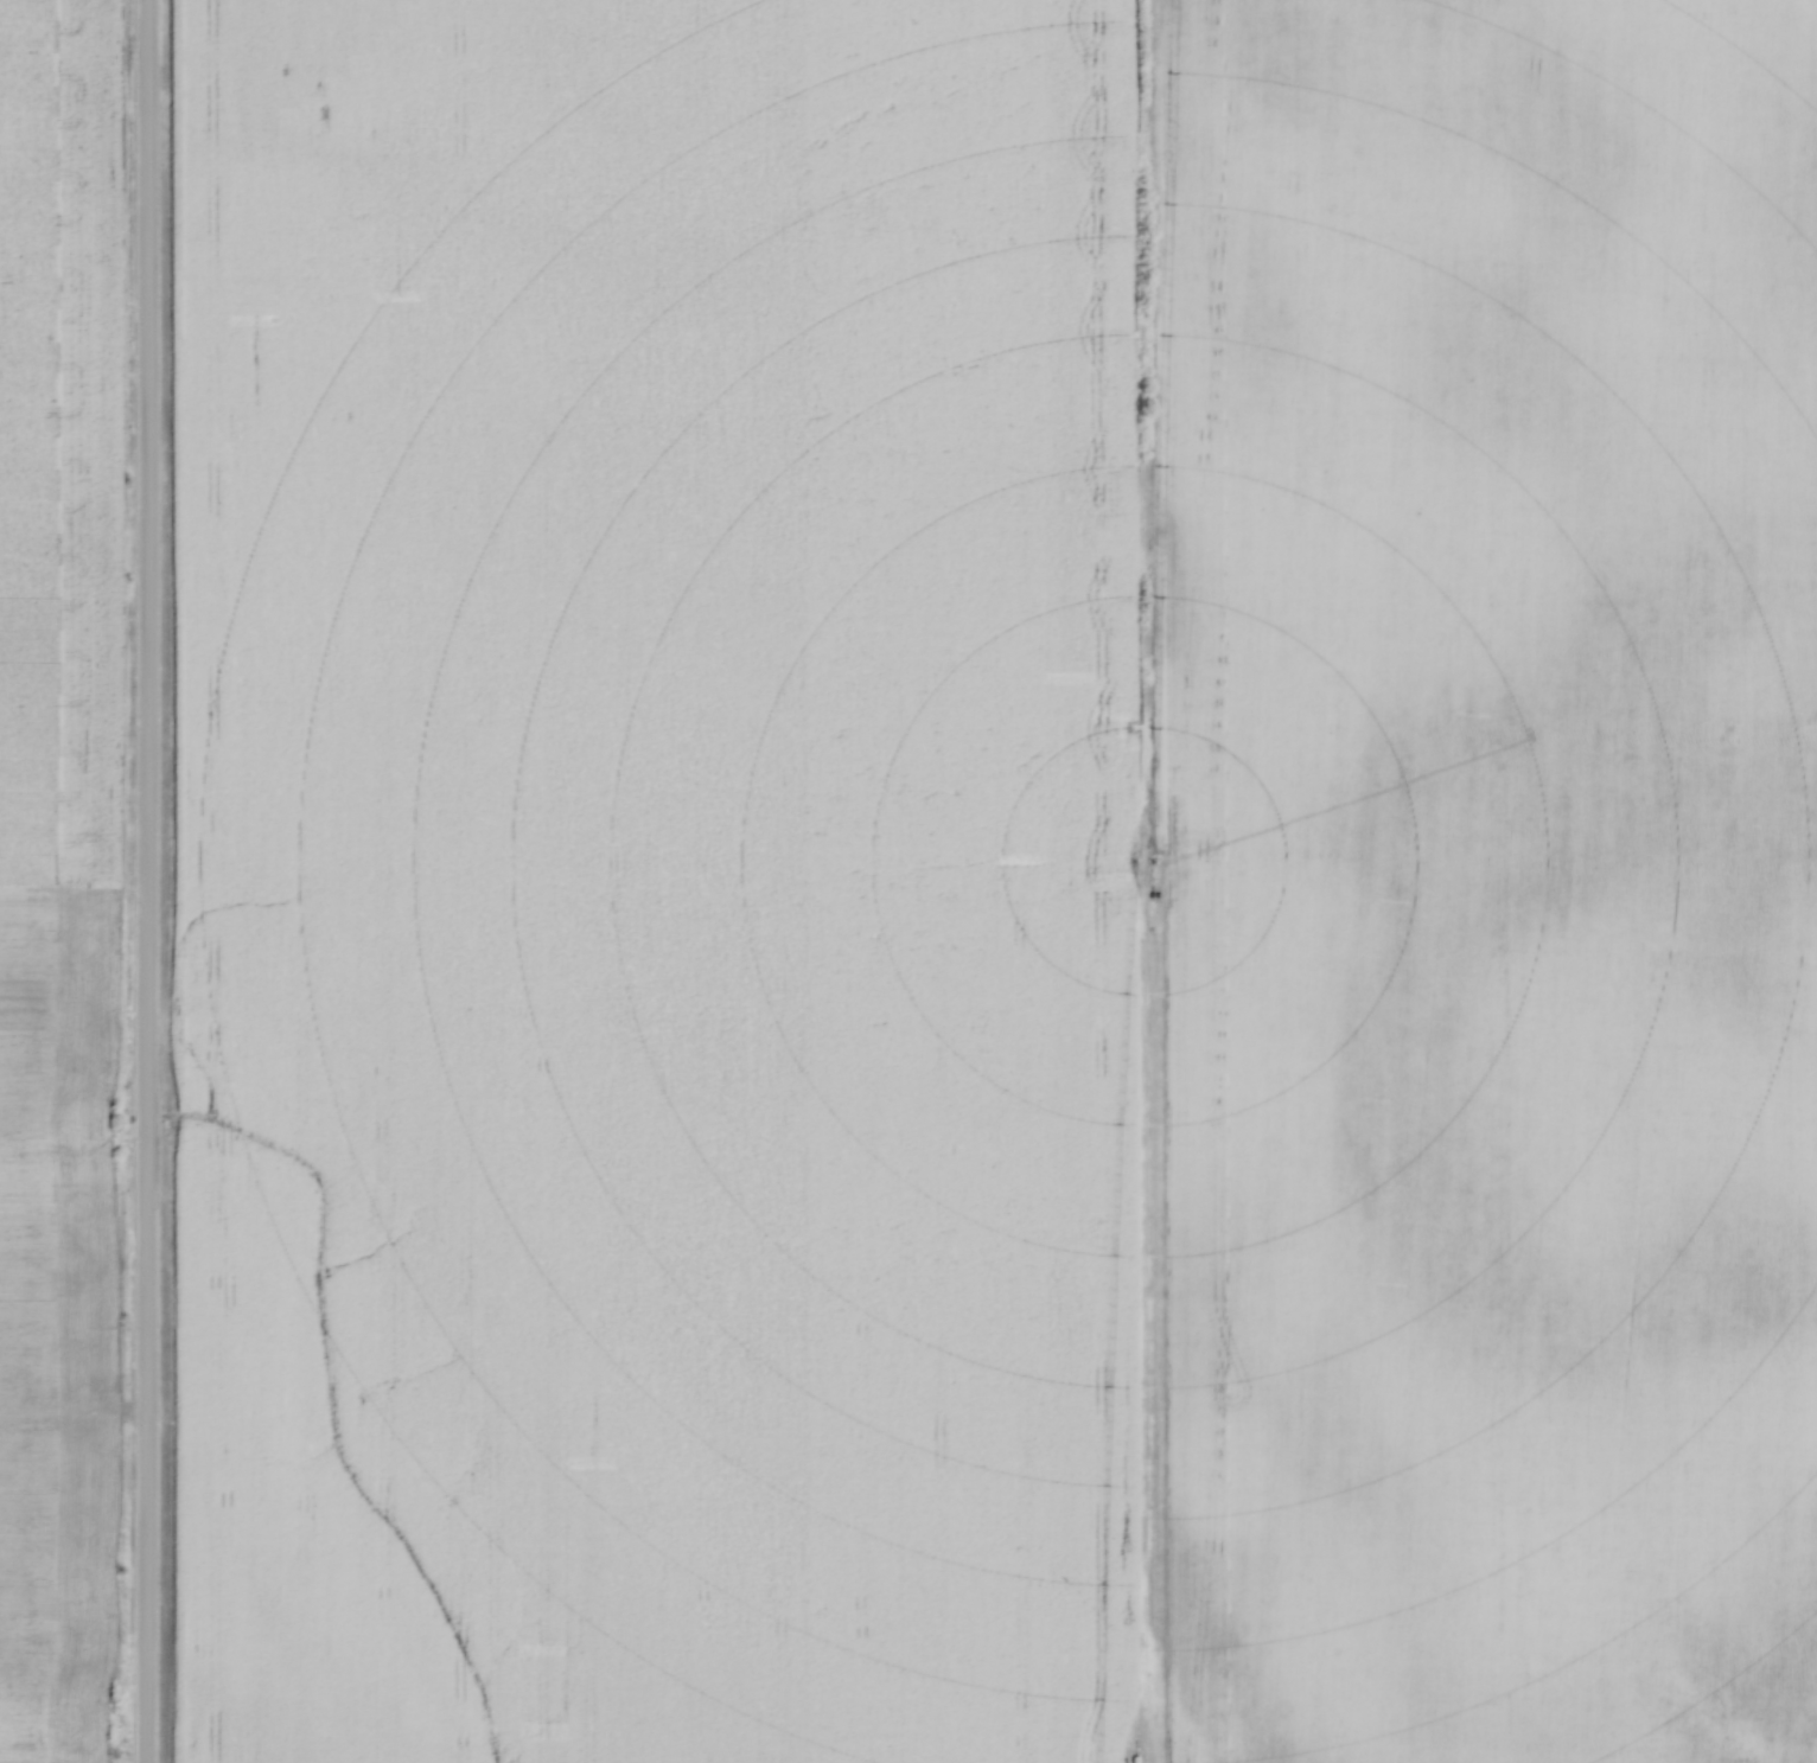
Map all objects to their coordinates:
road: (149, 881)

